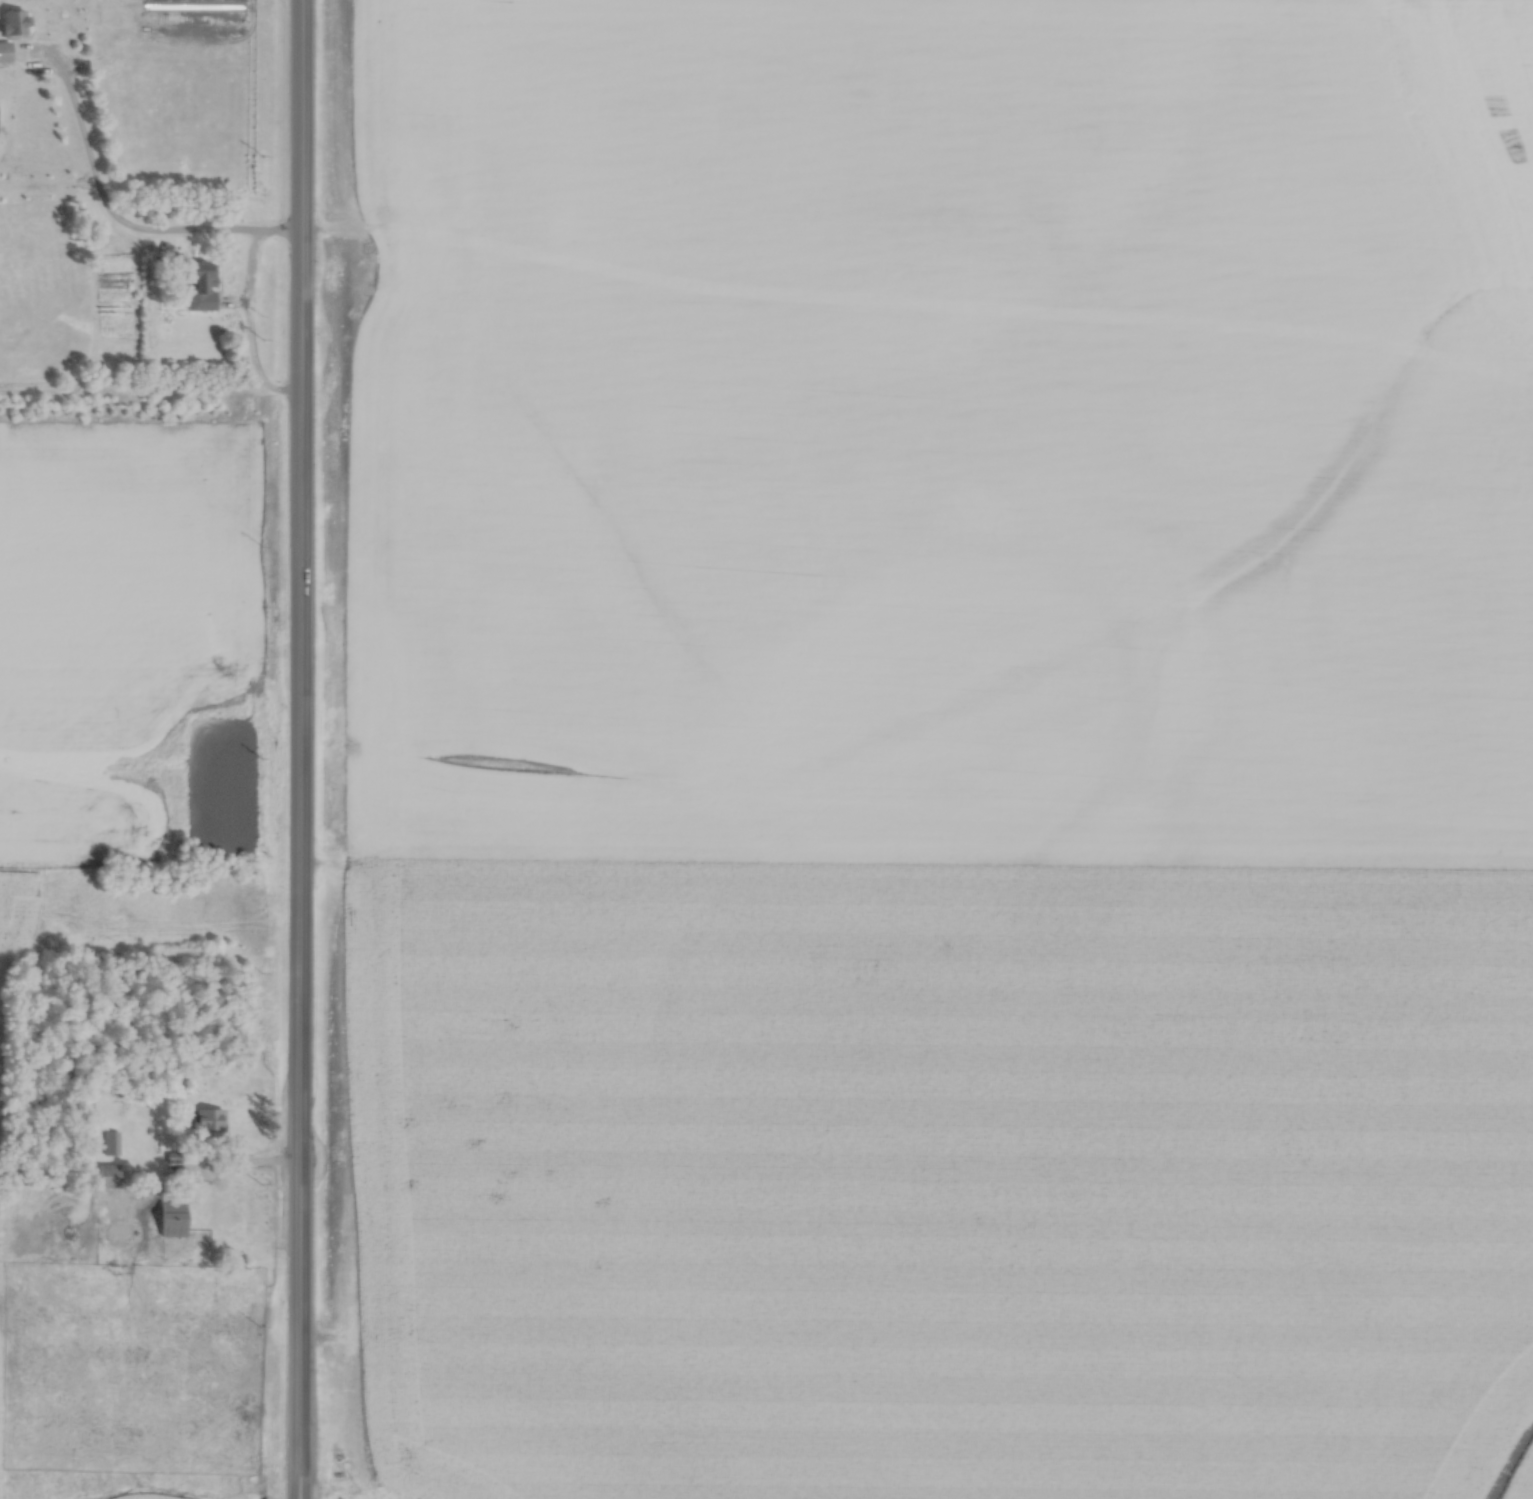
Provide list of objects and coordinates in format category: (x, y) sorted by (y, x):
building: (12, 19)
building: (4, 49)
road: (105, 201)
building: (199, 283)
road: (299, 745)
building: (207, 1118)
building: (111, 1141)
road: (234, 1157)
building: (107, 1173)
building: (171, 1216)
building: (118, 1229)
road: (297, 1495)
road: (298, 1495)

